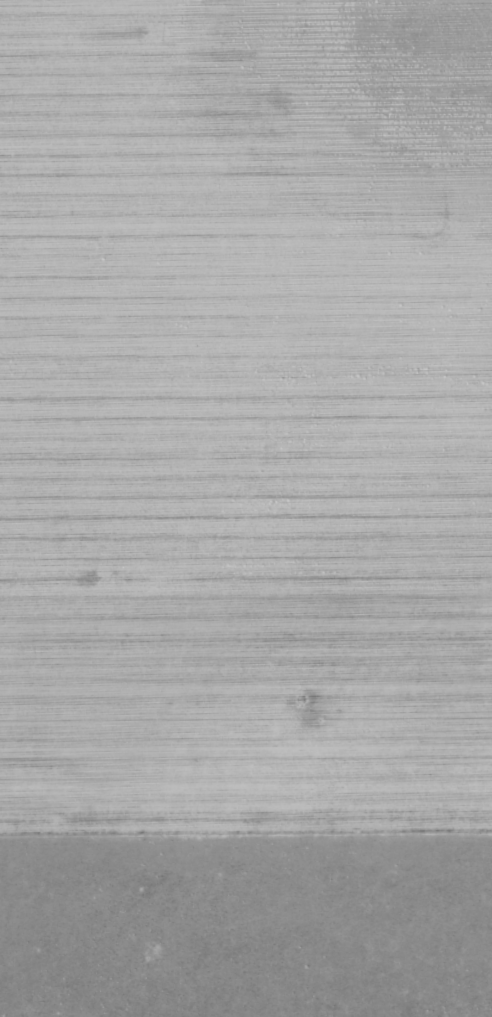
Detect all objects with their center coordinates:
road: (246, 831)

